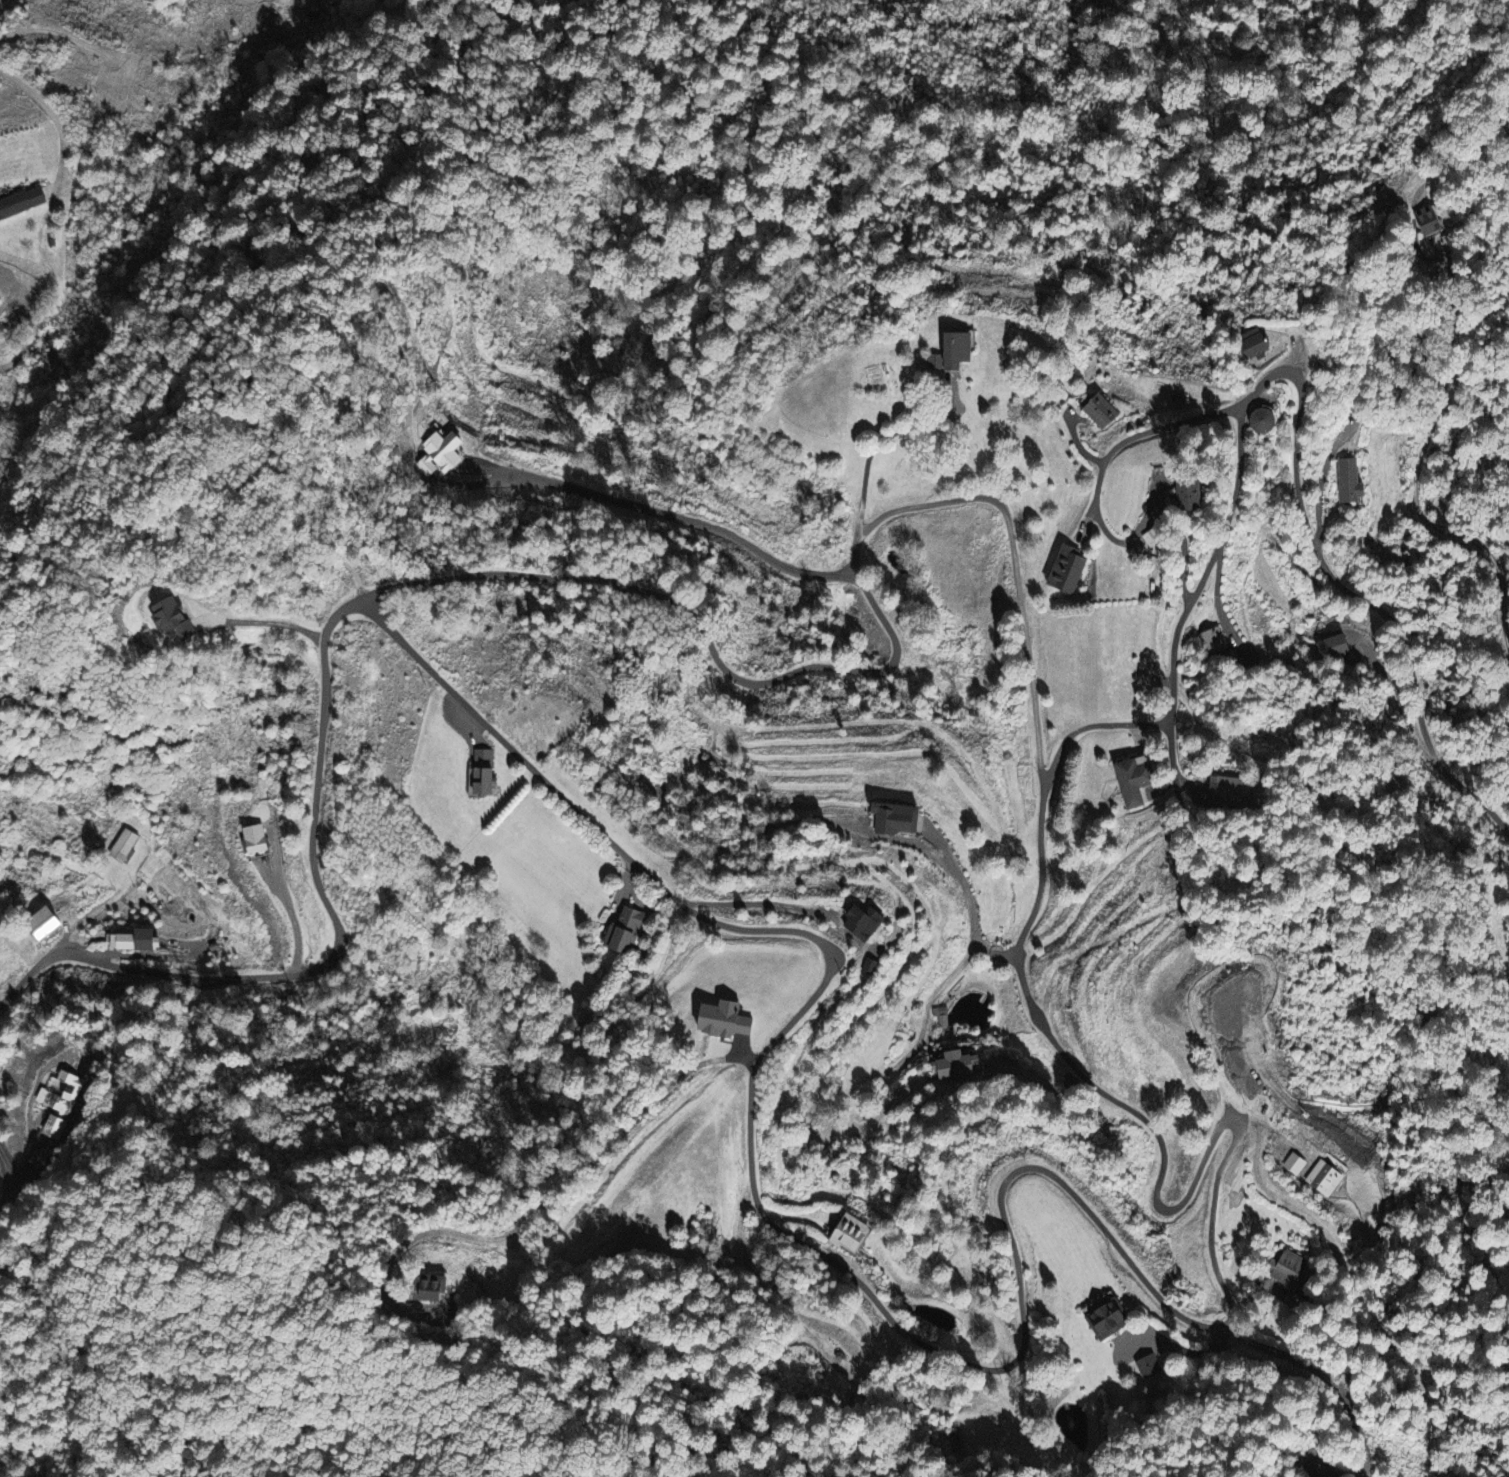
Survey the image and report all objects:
road: (56, 117)
building: (24, 204)
building: (1428, 221)
building: (1257, 345)
building: (958, 351)
road: (1354, 378)
building: (1104, 414)
road: (1300, 417)
road: (915, 426)
road: (1163, 437)
building: (441, 454)
road: (1419, 476)
building: (1350, 483)
road: (864, 488)
building: (1195, 494)
road: (944, 501)
road: (680, 516)
building: (1158, 539)
building: (1070, 570)
road: (344, 594)
building: (178, 620)
road: (265, 622)
building: (1214, 641)
building: (1333, 647)
road: (1092, 725)
road: (1037, 726)
road: (1223, 745)
building: (489, 776)
building: (1140, 782)
building: (1230, 791)
road: (556, 820)
building: (902, 820)
building: (258, 842)
building: (126, 846)
road: (965, 886)
road: (292, 913)
road: (82, 920)
building: (48, 926)
building: (625, 931)
building: (139, 942)
road: (998, 952)
building: (943, 1017)
building: (727, 1022)
road: (1202, 1032)
building: (959, 1066)
building: (1297, 1165)
building: (1327, 1180)
road: (1162, 1208)
building: (849, 1234)
building: (1293, 1271)
road: (1355, 1286)
building: (431, 1289)
building: (1296, 1305)
building: (1112, 1317)
road: (956, 1357)
building: (1150, 1367)
road: (1322, 1373)

